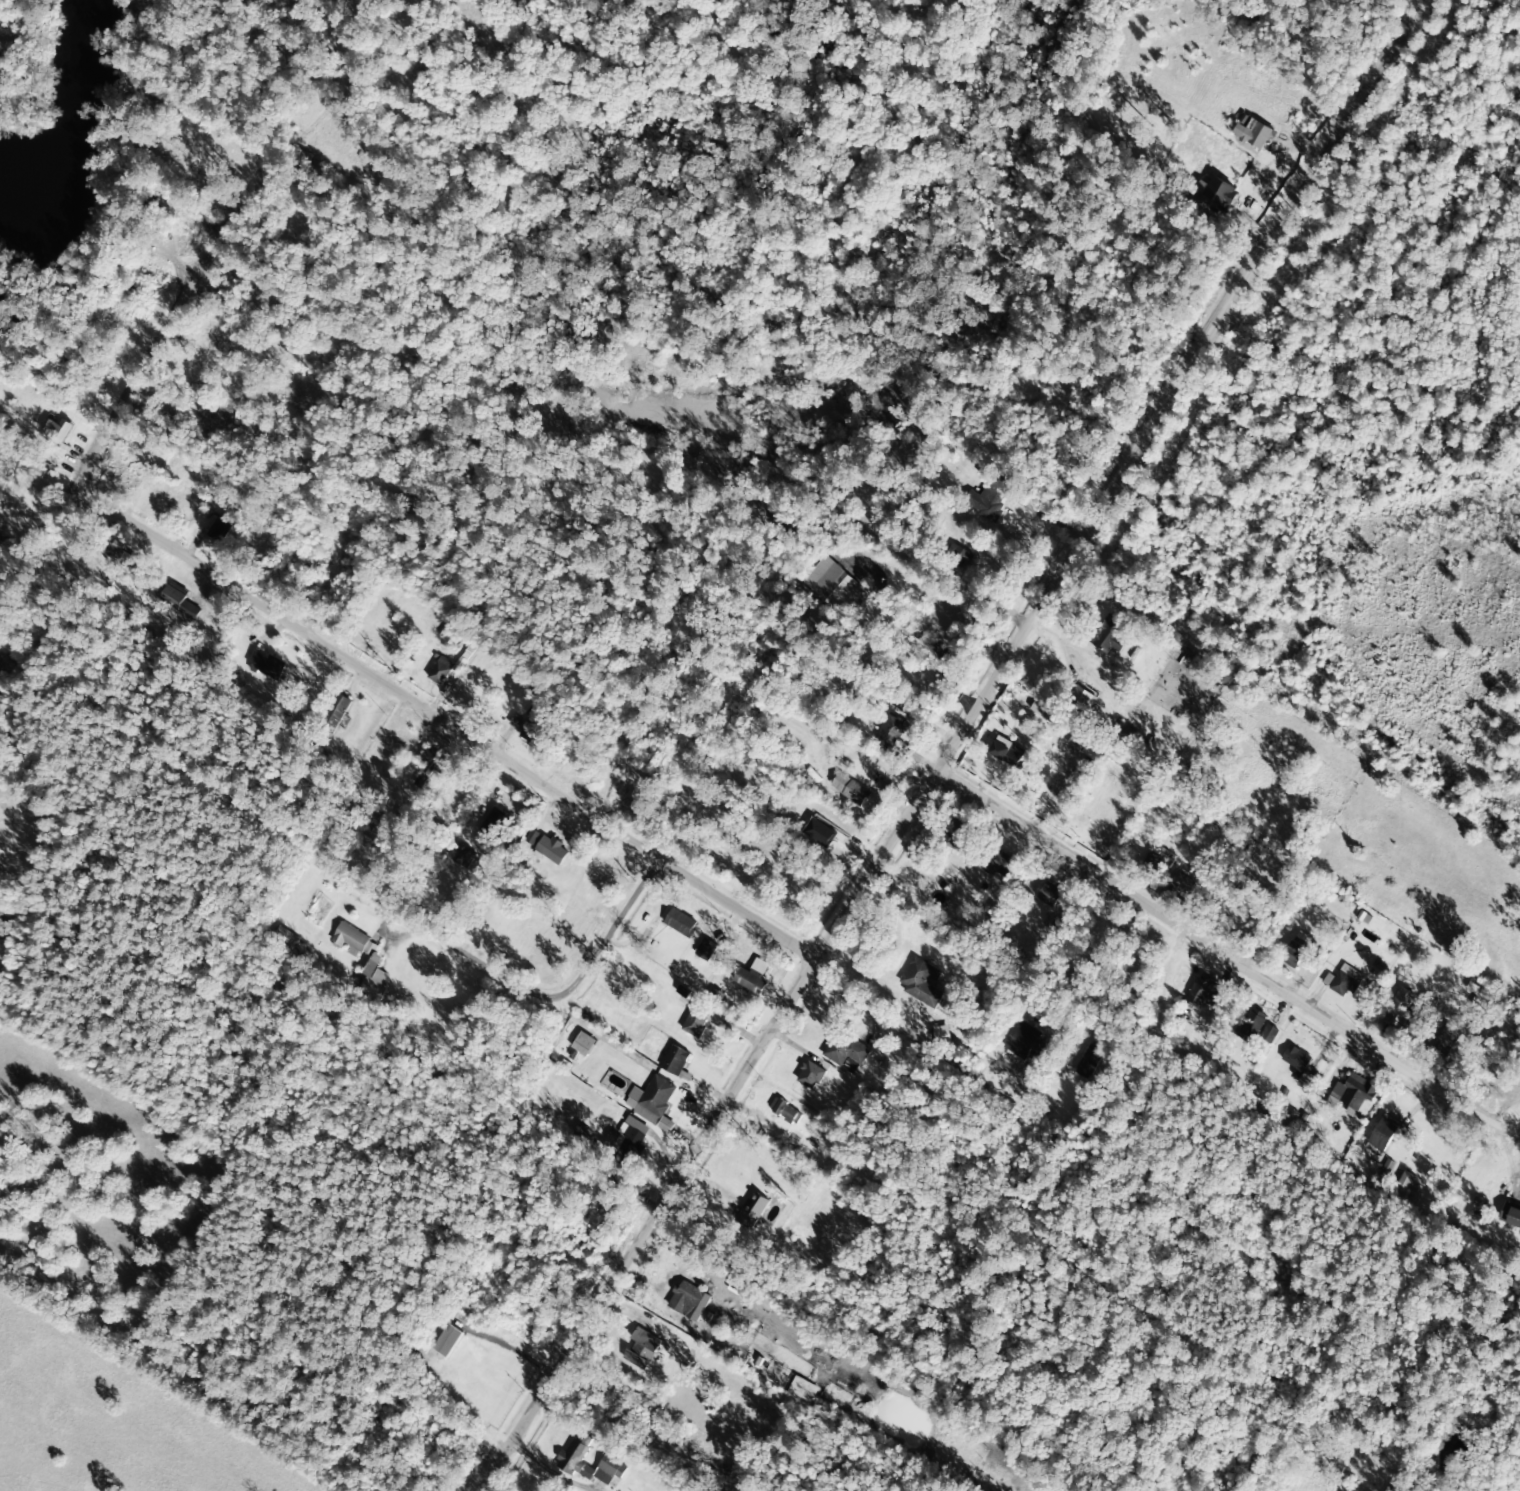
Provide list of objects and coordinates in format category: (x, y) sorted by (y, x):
river: (74, 118)
building: (1254, 134)
road: (134, 372)
building: (57, 431)
building: (34, 468)
building: (191, 495)
building: (988, 498)
building: (219, 529)
building: (957, 555)
building: (118, 556)
building: (836, 588)
building: (177, 602)
building: (1108, 635)
building: (264, 666)
building: (440, 671)
building: (1082, 697)
building: (334, 710)
building: (1045, 712)
road: (443, 717)
building: (890, 731)
building: (535, 735)
building: (394, 741)
building: (1089, 743)
road: (947, 746)
building: (1006, 751)
building: (433, 760)
building: (849, 789)
building: (825, 829)
building: (952, 836)
building: (552, 850)
building: (461, 856)
building: (1157, 860)
building: (1000, 865)
building: (1182, 882)
building: (1049, 894)
building: (680, 923)
road: (423, 925)
road: (602, 935)
building: (282, 937)
road: (1206, 938)
building: (353, 940)
building: (1295, 949)
building: (705, 950)
building: (752, 977)
building: (371, 980)
building: (1343, 981)
building: (921, 983)
building: (1203, 993)
building: (1399, 1008)
building: (700, 1019)
building: (1251, 1025)
road: (508, 1030)
building: (1268, 1034)
building: (941, 1036)
building: (1447, 1039)
building: (1025, 1042)
building: (583, 1044)
building: (845, 1051)
building: (674, 1060)
building: (1295, 1060)
building: (1087, 1061)
building: (810, 1075)
building: (1304, 1081)
building: (1353, 1096)
building: (651, 1099)
building: (784, 1111)
building: (665, 1125)
building: (631, 1133)
building: (1384, 1133)
building: (1407, 1182)
building: (753, 1209)
building: (1510, 1215)
building: (688, 1301)
building: (444, 1341)
building: (641, 1348)
building: (571, 1458)

